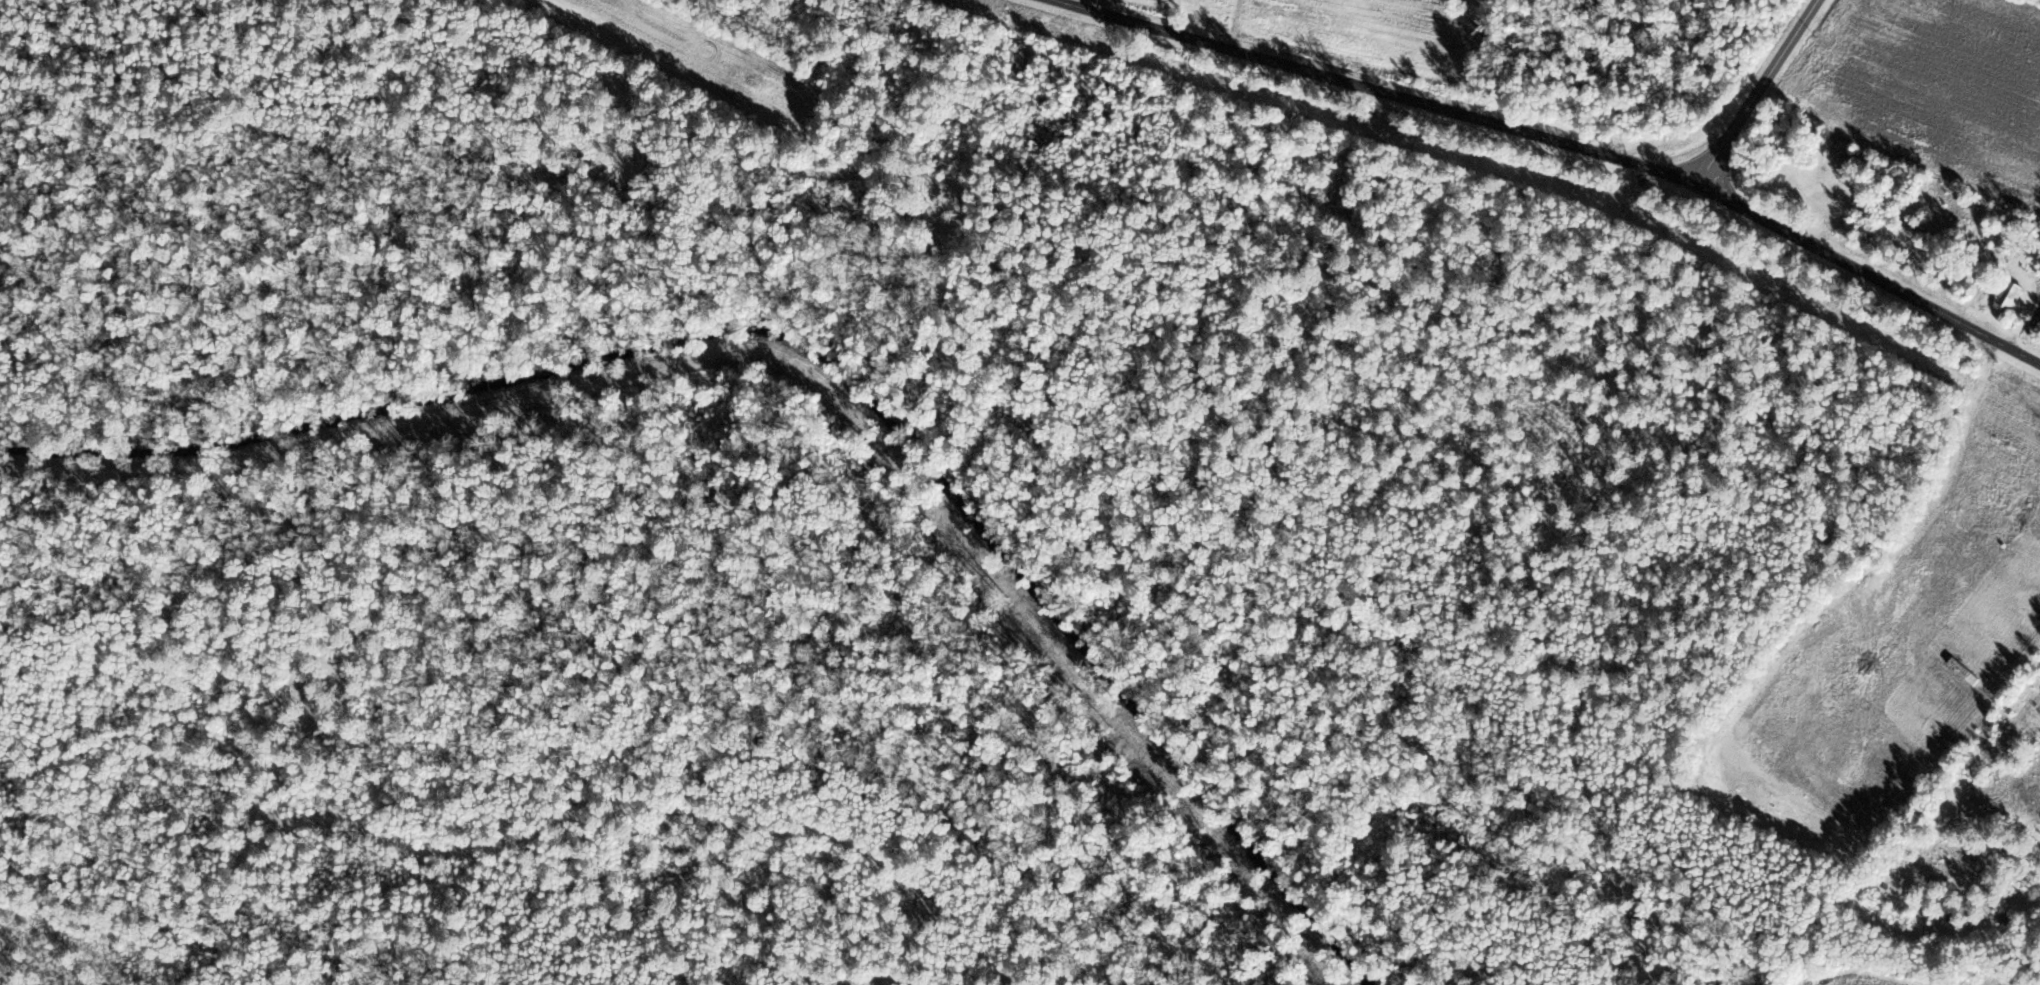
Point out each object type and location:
road: (1754, 94)
road: (1574, 153)
building: (1817, 184)
building: (1908, 224)
building: (2008, 296)
building: (2003, 917)

